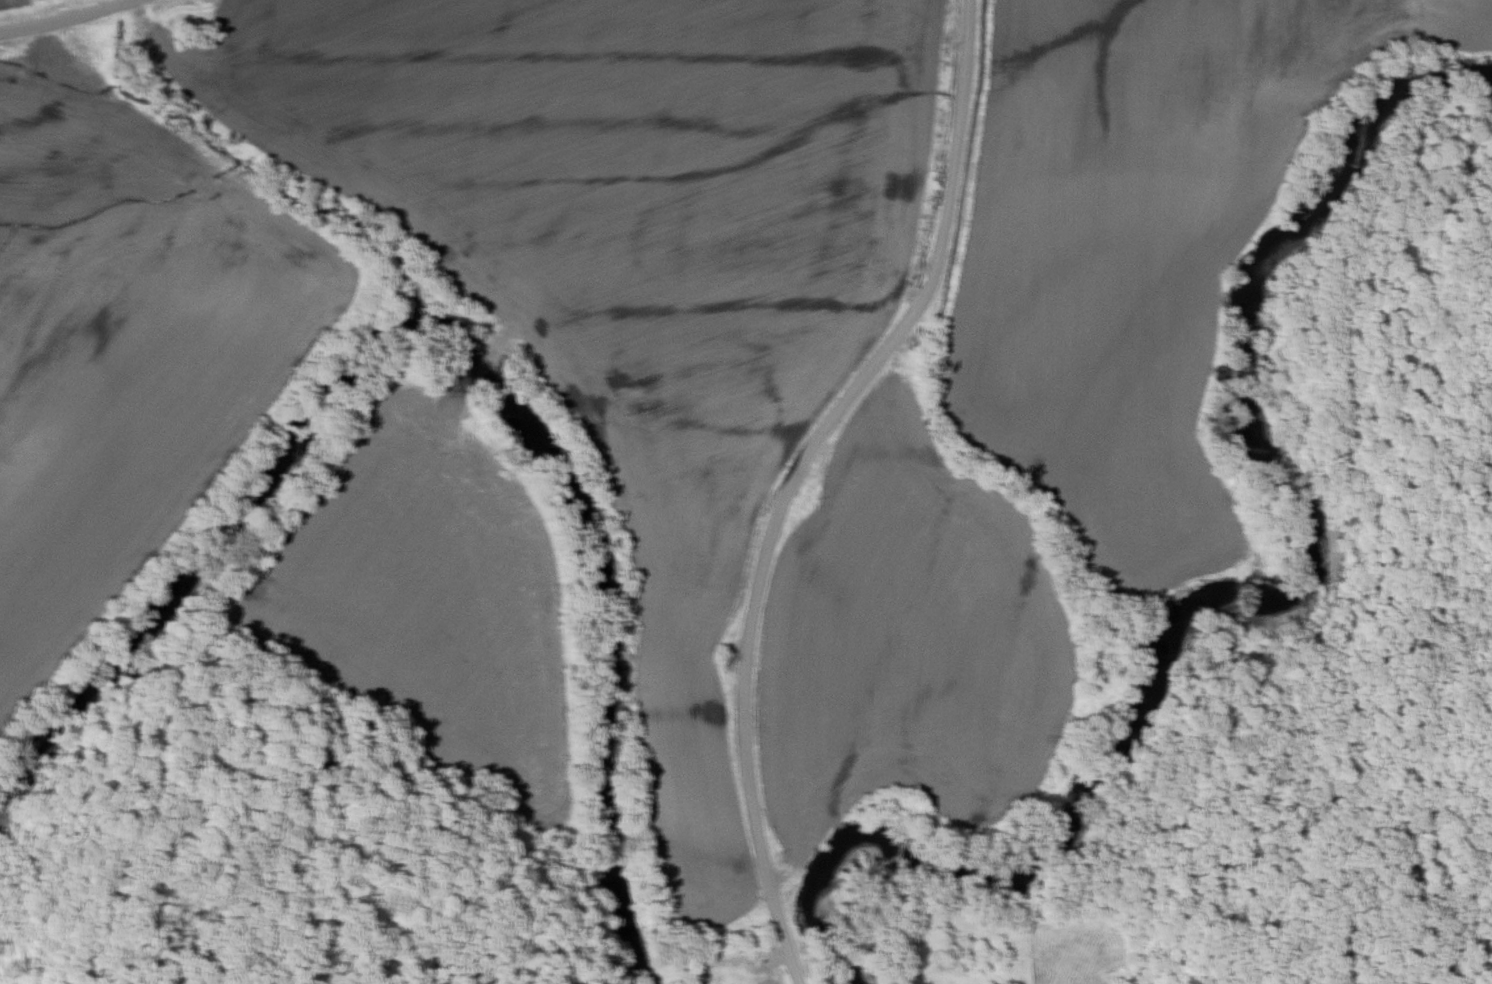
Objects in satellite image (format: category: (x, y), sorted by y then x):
road: (66, 20)
road: (807, 454)
road: (786, 960)

